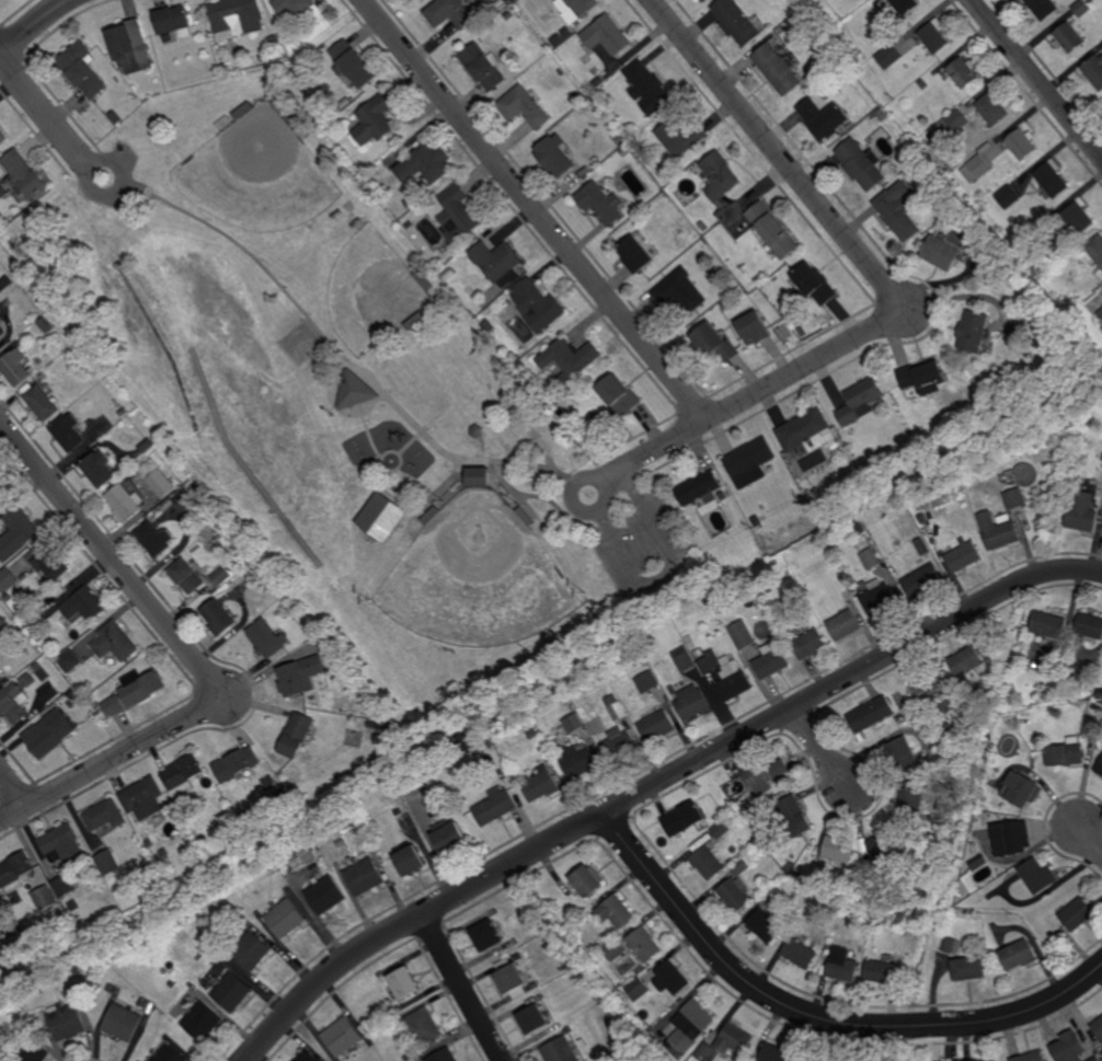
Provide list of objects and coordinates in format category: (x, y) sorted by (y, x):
building: (413, 0)
building: (707, 0)
building: (1092, 1)
building: (296, 5)
building: (904, 5)
building: (1082, 8)
building: (576, 9)
building: (1043, 9)
building: (449, 14)
building: (239, 15)
building: (509, 15)
building: (738, 23)
building: (174, 24)
road: (33, 25)
building: (607, 36)
building: (562, 38)
building: (934, 38)
building: (1069, 39)
building: (275, 42)
building: (130, 48)
building: (889, 58)
building: (354, 65)
building: (483, 68)
building: (82, 70)
building: (780, 71)
building: (1094, 71)
building: (833, 73)
building: (965, 73)
road: (1038, 77)
building: (923, 85)
building: (590, 89)
building: (647, 89)
building: (596, 97)
building: (576, 99)
building: (524, 108)
building: (592, 108)
building: (994, 111)
road: (45, 112)
building: (243, 112)
building: (286, 115)
building: (116, 118)
building: (824, 120)
building: (958, 122)
building: (375, 123)
building: (3, 138)
building: (681, 139)
building: (1023, 146)
building: (555, 159)
building: (982, 164)
building: (862, 165)
building: (425, 168)
building: (25, 172)
building: (586, 173)
park: (257, 174)
building: (720, 177)
building: (1055, 177)
road: (94, 192)
parking lot: (128, 195)
building: (1009, 196)
building: (602, 203)
building: (900, 208)
road: (537, 210)
building: (457, 215)
building: (1080, 216)
building: (409, 224)
building: (703, 226)
building: (773, 228)
building: (688, 241)
building: (1056, 241)
building: (701, 246)
building: (948, 246)
building: (1097, 246)
building: (440, 252)
building: (636, 252)
road: (253, 255)
building: (497, 262)
building: (1101, 265)
building: (424, 278)
building: (817, 281)
road: (886, 282)
building: (680, 291)
park: (371, 292)
building: (538, 304)
building: (727, 304)
building: (1101, 313)
building: (415, 320)
building: (44, 322)
building: (489, 325)
building: (756, 326)
building: (975, 331)
building: (2, 332)
building: (715, 342)
building: (513, 357)
building: (570, 357)
building: (520, 365)
building: (18, 367)
building: (90, 369)
road: (368, 373)
building: (925, 376)
building: (355, 390)
building: (619, 395)
building: (44, 401)
building: (861, 401)
park: (346, 402)
building: (561, 411)
building: (125, 412)
building: (477, 430)
building: (69, 431)
building: (808, 431)
road: (370, 435)
road: (411, 442)
building: (147, 445)
road: (484, 449)
road: (400, 454)
road: (463, 460)
building: (751, 462)
building: (984, 462)
building: (99, 468)
building: (480, 475)
road: (417, 480)
building: (161, 482)
building: (1, 486)
road: (606, 486)
building: (882, 487)
building: (701, 488)
building: (0, 491)
road: (438, 492)
building: (724, 495)
building: (1014, 498)
road: (548, 499)
building: (184, 500)
building: (125, 501)
road: (526, 504)
building: (841, 508)
building: (1083, 512)
building: (383, 517)
building: (851, 517)
building: (759, 521)
building: (860, 528)
building: (998, 529)
building: (18, 533)
building: (154, 538)
building: (866, 541)
parking lot: (644, 544)
building: (922, 546)
road: (112, 555)
building: (963, 555)
building: (872, 557)
building: (50, 563)
building: (250, 570)
road: (669, 570)
building: (187, 576)
building: (220, 576)
park: (478, 578)
building: (8, 580)
building: (923, 581)
building: (863, 586)
building: (848, 597)
building: (880, 599)
building: (84, 606)
building: (296, 610)
building: (218, 616)
building: (36, 620)
building: (3, 624)
building: (845, 625)
building: (1051, 625)
building: (1090, 625)
building: (39, 635)
building: (744, 635)
building: (267, 638)
building: (68, 641)
building: (115, 642)
building: (810, 644)
building: (700, 654)
building: (69, 660)
building: (686, 660)
building: (773, 661)
building: (331, 662)
building: (711, 662)
building: (967, 662)
building: (299, 676)
building: (1078, 676)
building: (27, 677)
building: (4, 679)
building: (735, 679)
building: (648, 682)
building: (929, 683)
building: (135, 691)
building: (49, 692)
building: (72, 693)
building: (567, 699)
building: (695, 703)
building: (1019, 703)
building: (14, 704)
building: (617, 707)
building: (374, 708)
building: (574, 712)
building: (1013, 714)
building: (872, 715)
building: (370, 724)
building: (382, 726)
building: (658, 726)
building: (1092, 726)
building: (49, 734)
building: (533, 734)
building: (296, 735)
building: (464, 742)
building: (620, 746)
road: (822, 748)
building: (904, 753)
building: (1067, 754)
road: (110, 759)
building: (579, 763)
building: (236, 764)
building: (1099, 769)
building: (768, 774)
building: (183, 775)
road: (656, 784)
road: (13, 786)
building: (541, 786)
building: (406, 791)
building: (1021, 791)
building: (280, 794)
building: (144, 799)
building: (911, 805)
building: (496, 807)
building: (750, 811)
building: (105, 816)
building: (794, 817)
building: (685, 820)
building: (721, 830)
building: (449, 839)
building: (1013, 839)
road: (1089, 839)
building: (61, 844)
building: (370, 846)
building: (885, 847)
building: (743, 850)
building: (839, 851)
building: (772, 861)
building: (410, 862)
building: (108, 863)
building: (708, 864)
building: (994, 865)
building: (743, 868)
building: (15, 873)
building: (797, 874)
building: (365, 877)
building: (1037, 877)
building: (91, 878)
building: (589, 884)
building: (64, 887)
building: (326, 895)
building: (736, 895)
building: (18, 899)
building: (45, 899)
building: (74, 907)
building: (617, 913)
building: (1075, 915)
building: (62, 918)
building: (285, 919)
building: (768, 925)
building: (796, 926)
building: (910, 930)
building: (486, 934)
building: (645, 943)
building: (952, 945)
building: (616, 948)
building: (251, 949)
building: (595, 949)
building: (801, 953)
building: (1020, 955)
building: (518, 957)
building: (595, 961)
building: (843, 964)
building: (968, 967)
building: (882, 970)
building: (175, 972)
building: (673, 977)
building: (510, 978)
building: (404, 982)
building: (172, 983)
building: (533, 985)
road: (463, 988)
building: (639, 988)
building: (231, 991)
building: (76, 992)
building: (539, 996)
building: (152, 1006)
building: (398, 1008)
road: (817, 1016)
building: (532, 1017)
building: (202, 1019)
building: (67, 1020)
building: (123, 1020)
building: (692, 1024)
building: (1097, 1024)
building: (422, 1026)
building: (567, 1030)
building: (344, 1036)
building: (736, 1038)
building: (582, 1042)
road: (852, 1042)
building: (1070, 1048)
building: (559, 1050)
building: (708, 1051)
building: (28, 1052)
building: (168, 1053)
building: (678, 1053)
building: (777, 1053)
building: (444, 1054)
building: (307, 1056)
building: (1032, 1056)
building: (409, 1058)
building: (1097, 1059)
building: (586, 1060)
building: (948, 1060)
building: (985, 1060)

